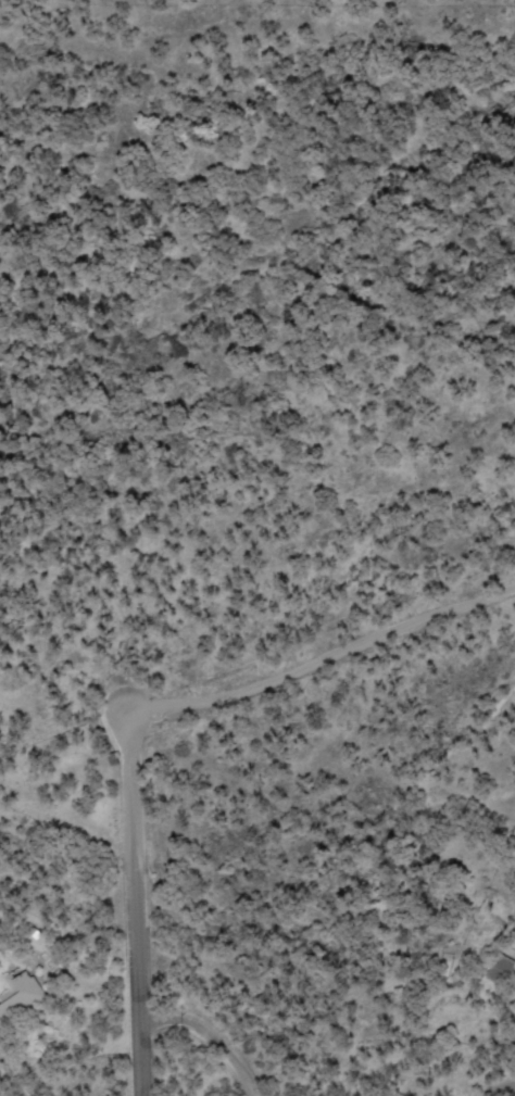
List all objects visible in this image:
road: (338, 644)
road: (128, 879)
building: (499, 972)
building: (20, 998)
road: (210, 1033)
road: (501, 1084)

